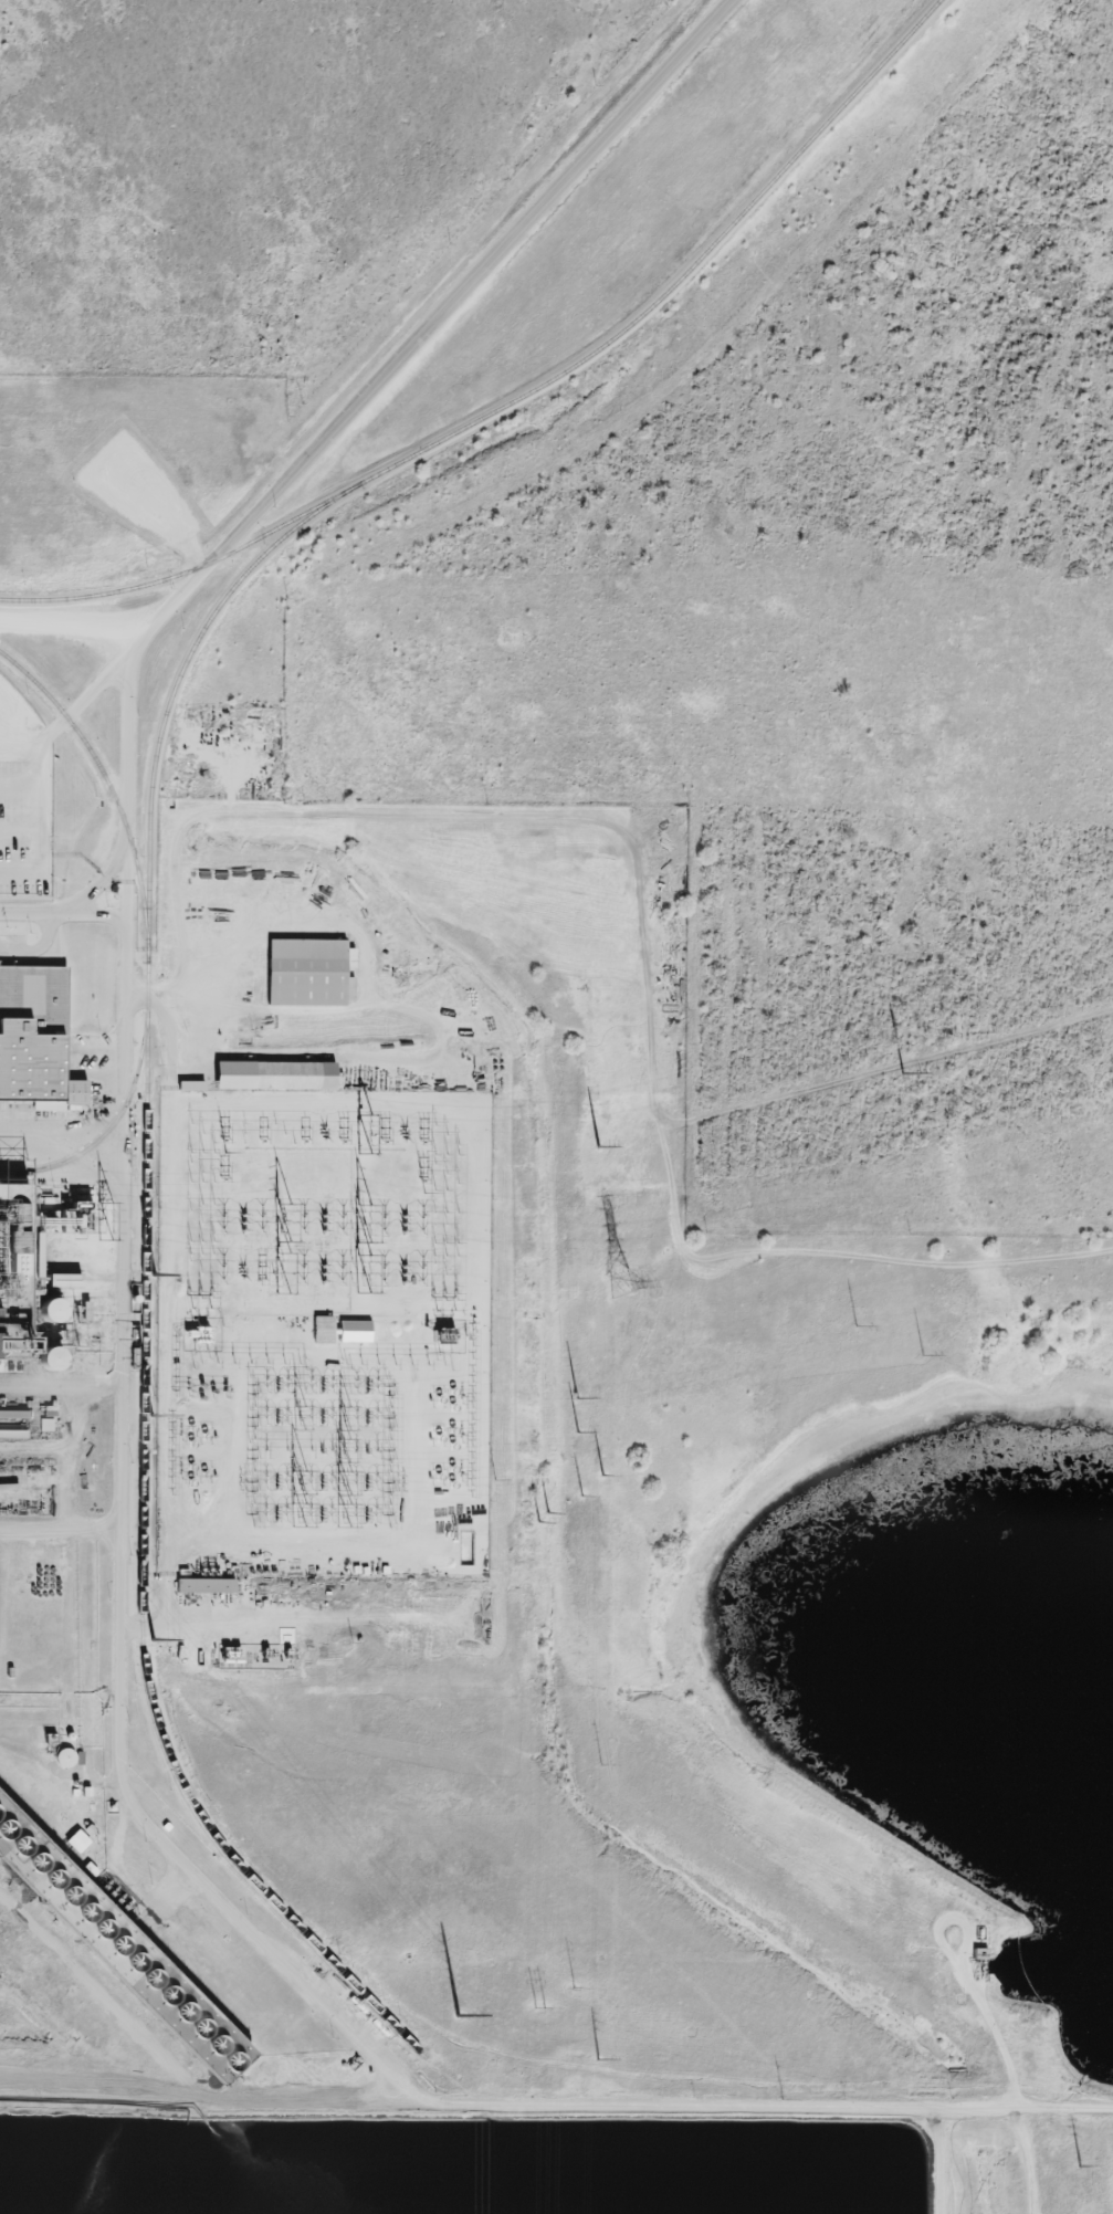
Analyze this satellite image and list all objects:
railway: (526, 397)
road: (72, 715)
railway: (106, 785)
road: (78, 904)
road: (101, 916)
building: (304, 974)
road: (125, 988)
building: (30, 1032)
power tower: (897, 1066)
building: (273, 1078)
road: (62, 1132)
railway: (105, 1133)
power tower: (595, 1150)
power tower: (153, 1276)
power tower: (620, 1288)
railway: (143, 1298)
building: (9, 1321)
power tower: (858, 1324)
building: (323, 1332)
power substation: (323, 1335)
power tower: (923, 1355)
road: (61, 1388)
power tower: (577, 1398)
power tower: (151, 1415)
power tower: (578, 1431)
power tower: (603, 1476)
power plant: (481, 1493)
power tower: (585, 1496)
power tower: (539, 1519)
road: (61, 1531)
building: (209, 1587)
power tower: (155, 1643)
power tower: (600, 1764)
building: (74, 1841)
building: (116, 1950)
power tower: (575, 1986)
power tower: (538, 2010)
power tower: (460, 2013)
power tower: (599, 2058)
road: (72, 2096)
power tower: (784, 2098)
road: (204, 2102)
power tower: (1081, 2166)

